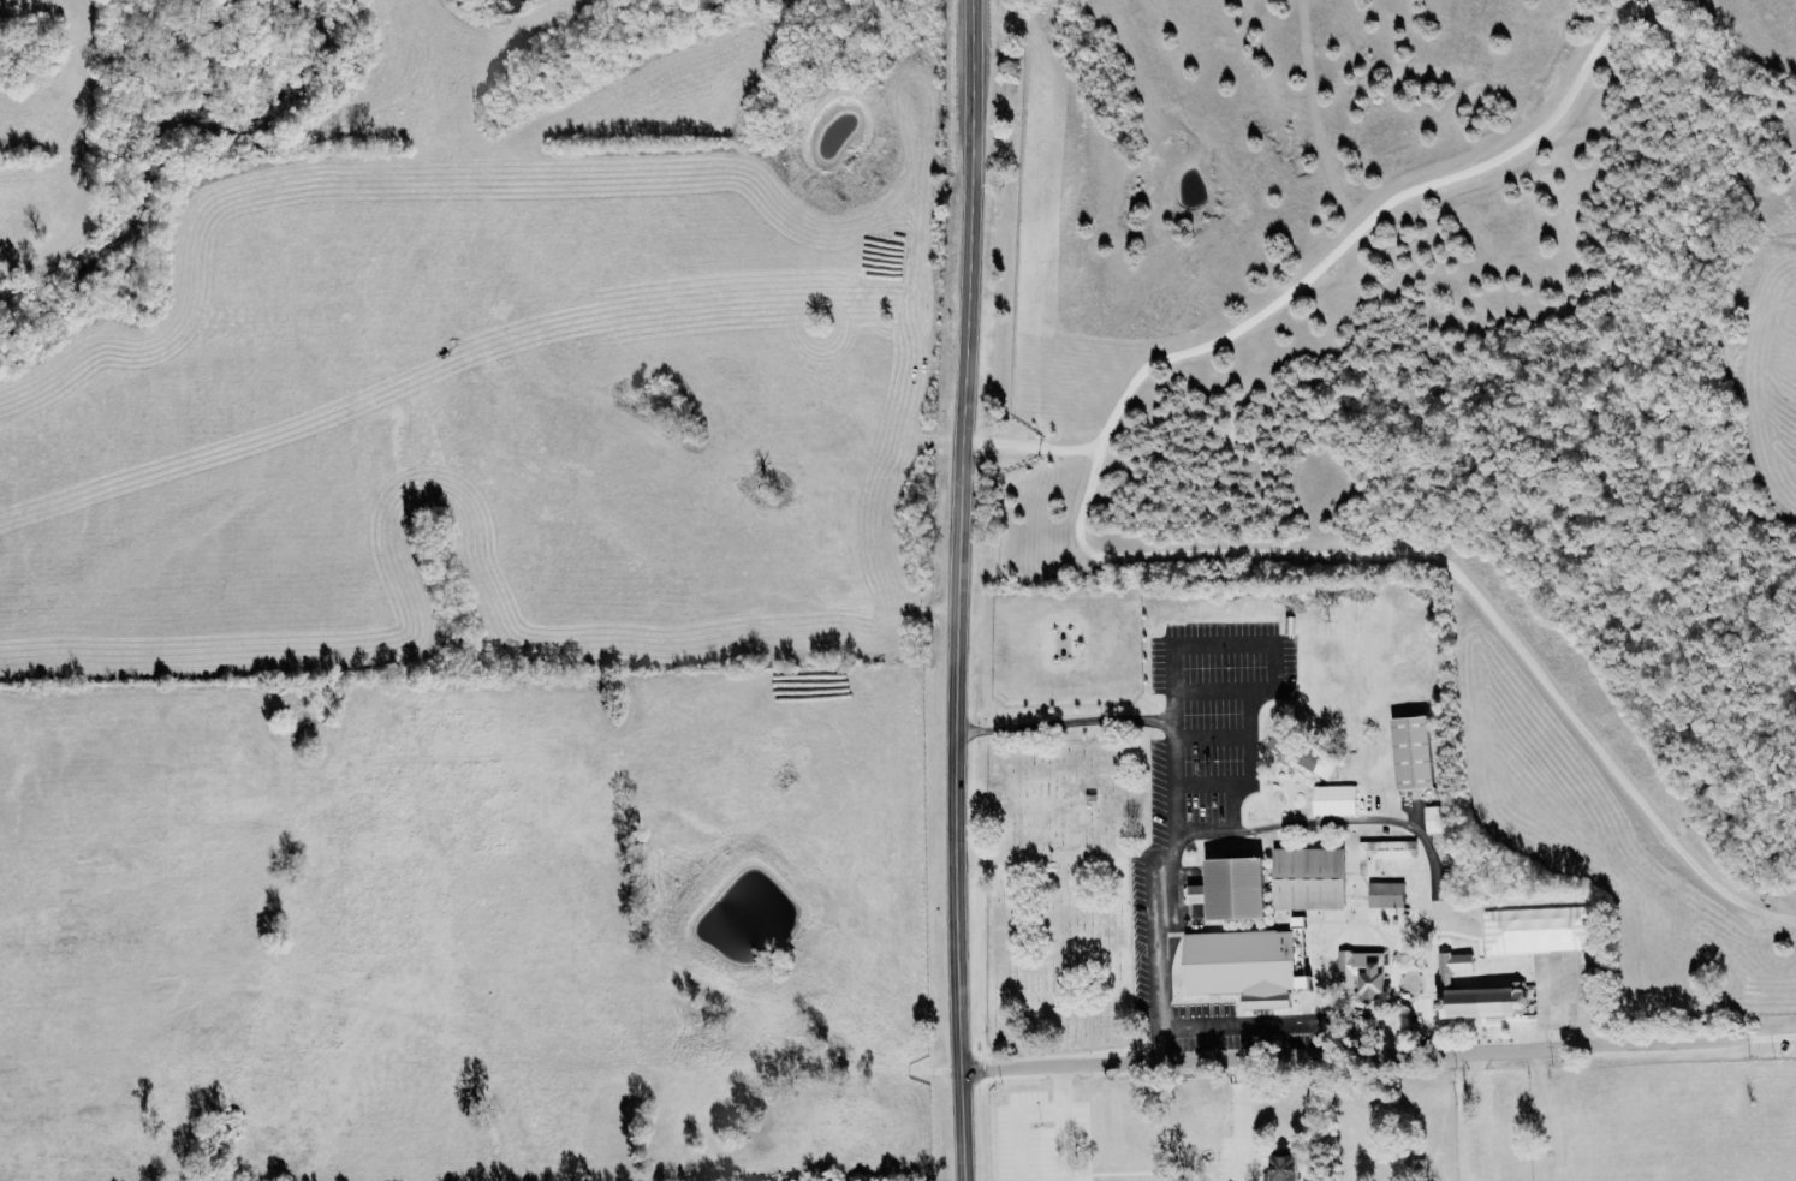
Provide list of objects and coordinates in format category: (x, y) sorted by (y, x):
road: (958, 590)
building: (1421, 750)
building: (1306, 752)
building: (1438, 818)
road: (1334, 819)
building: (1387, 852)
road: (1164, 860)
building: (1314, 877)
building: (1239, 887)
building: (1391, 893)
park: (1054, 895)
road: (1557, 921)
building: (1262, 961)
building: (1367, 970)
building: (1482, 991)
road: (1166, 1044)
road: (1376, 1057)
road: (1235, 1120)
building: (1289, 1168)

